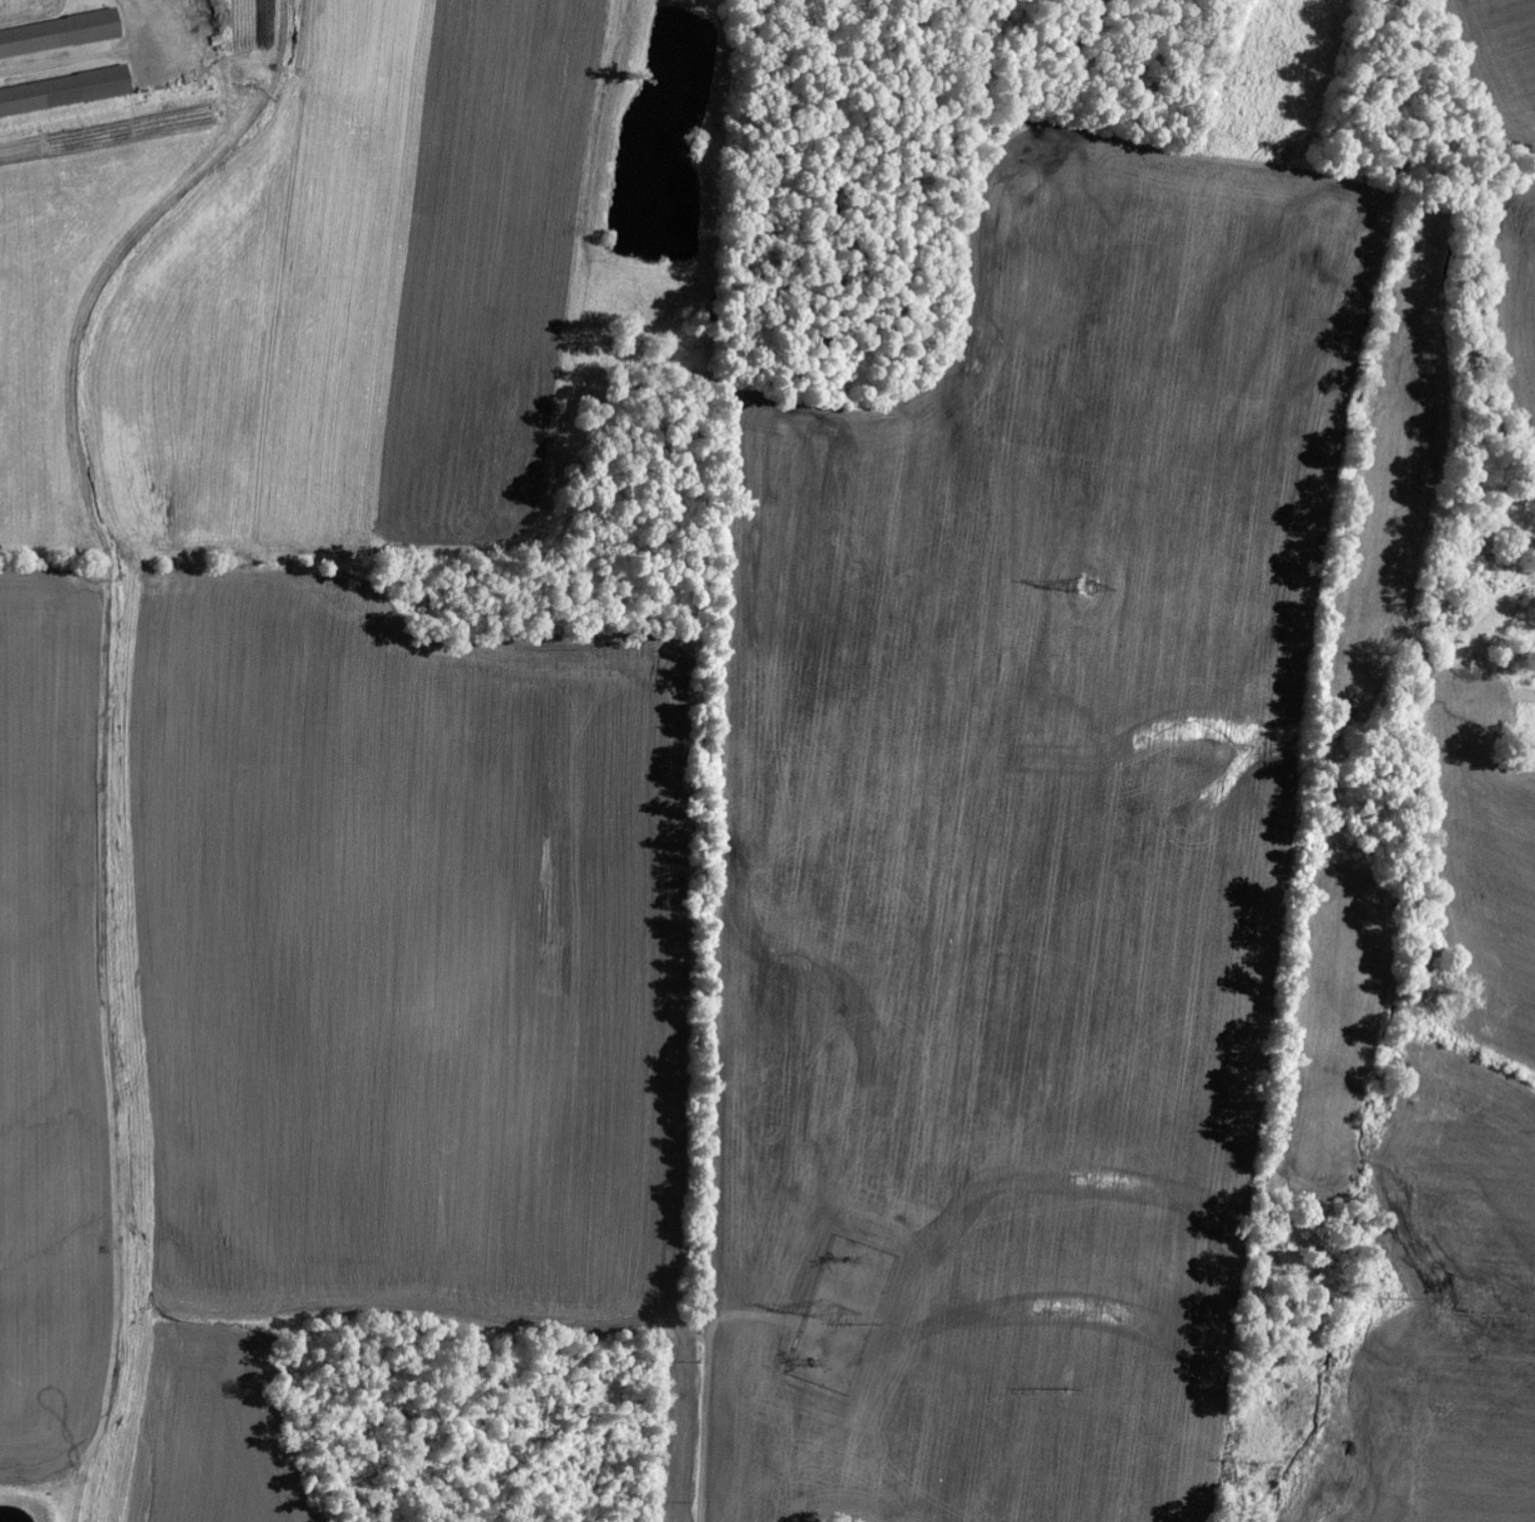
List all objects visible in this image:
building: (60, 37)
building: (65, 94)
power tower: (1090, 589)
power tower: (821, 1310)
power substation: (844, 1317)

